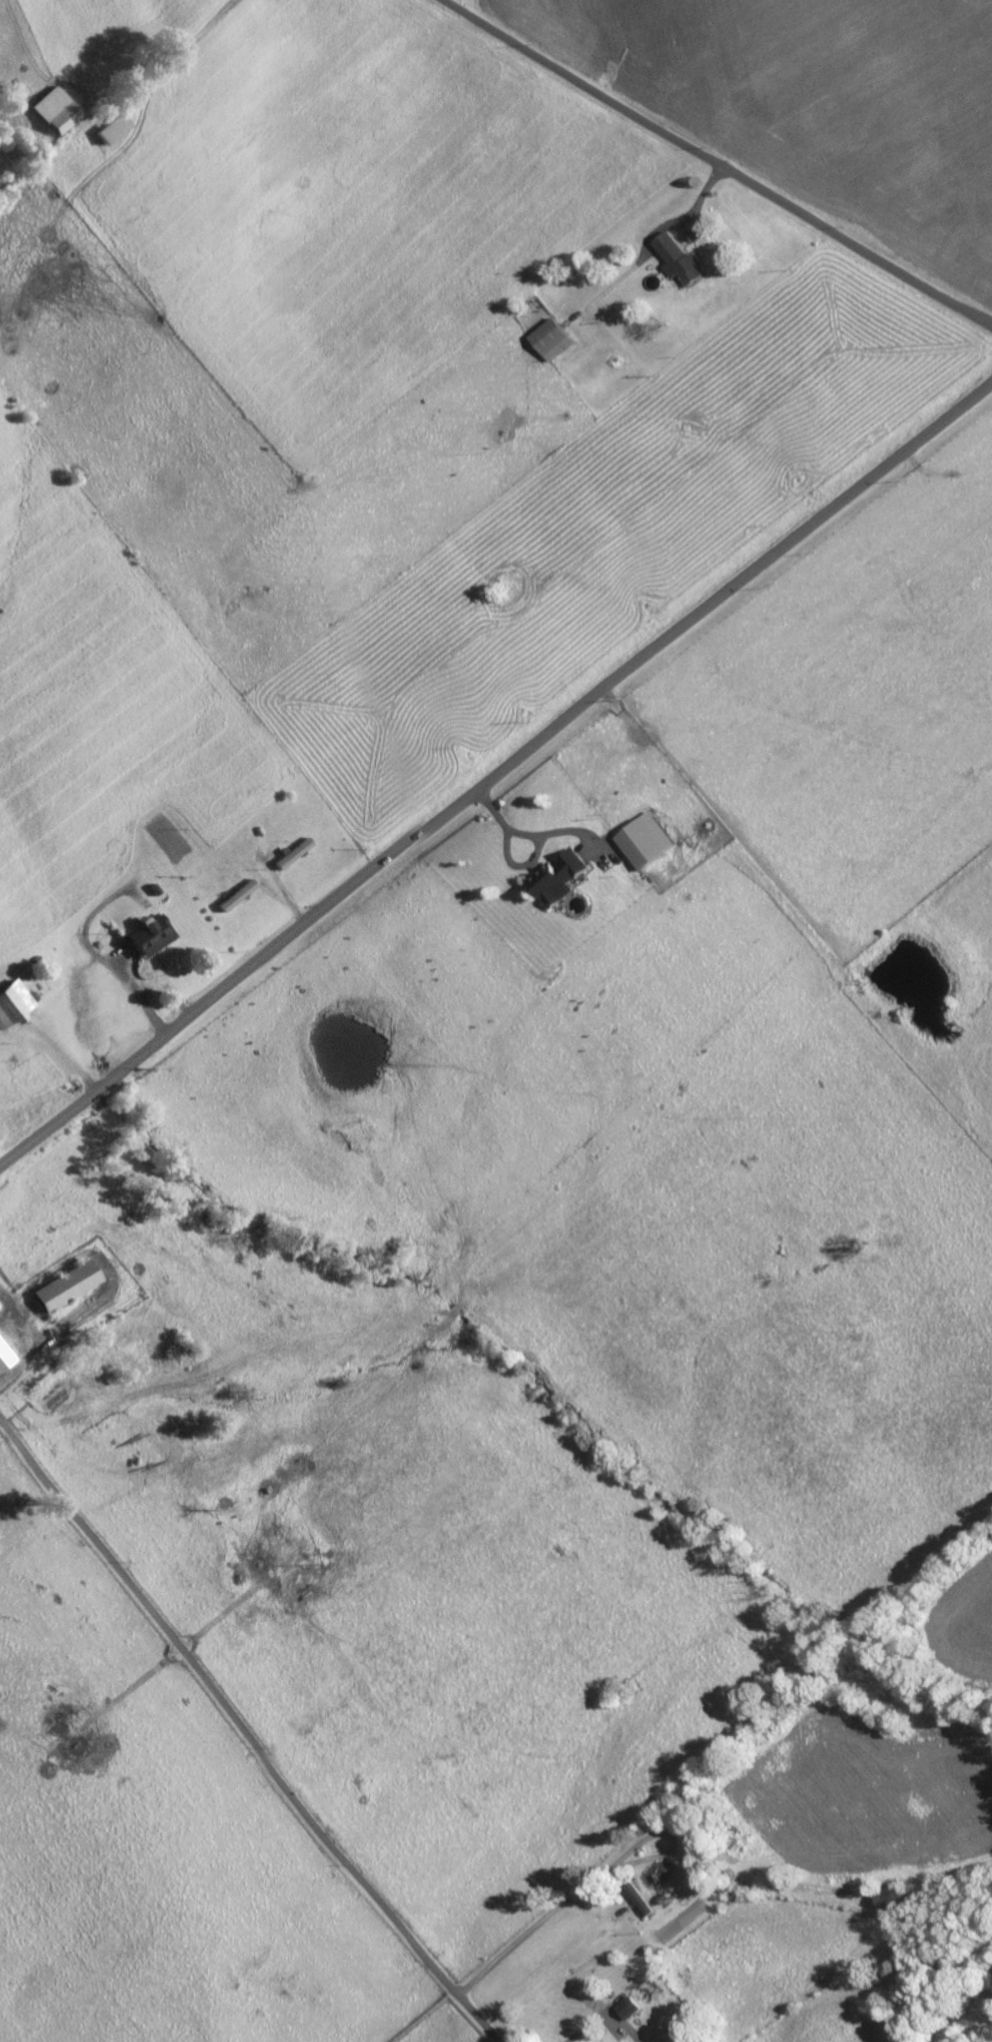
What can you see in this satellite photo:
building: (53, 110)
road: (718, 163)
building: (678, 258)
building: (549, 339)
road: (495, 772)
building: (642, 840)
building: (291, 853)
building: (554, 878)
building: (234, 895)
building: (145, 936)
building: (10, 1001)
building: (60, 1287)
building: (3, 1357)
road: (245, 1732)
building: (628, 2007)

